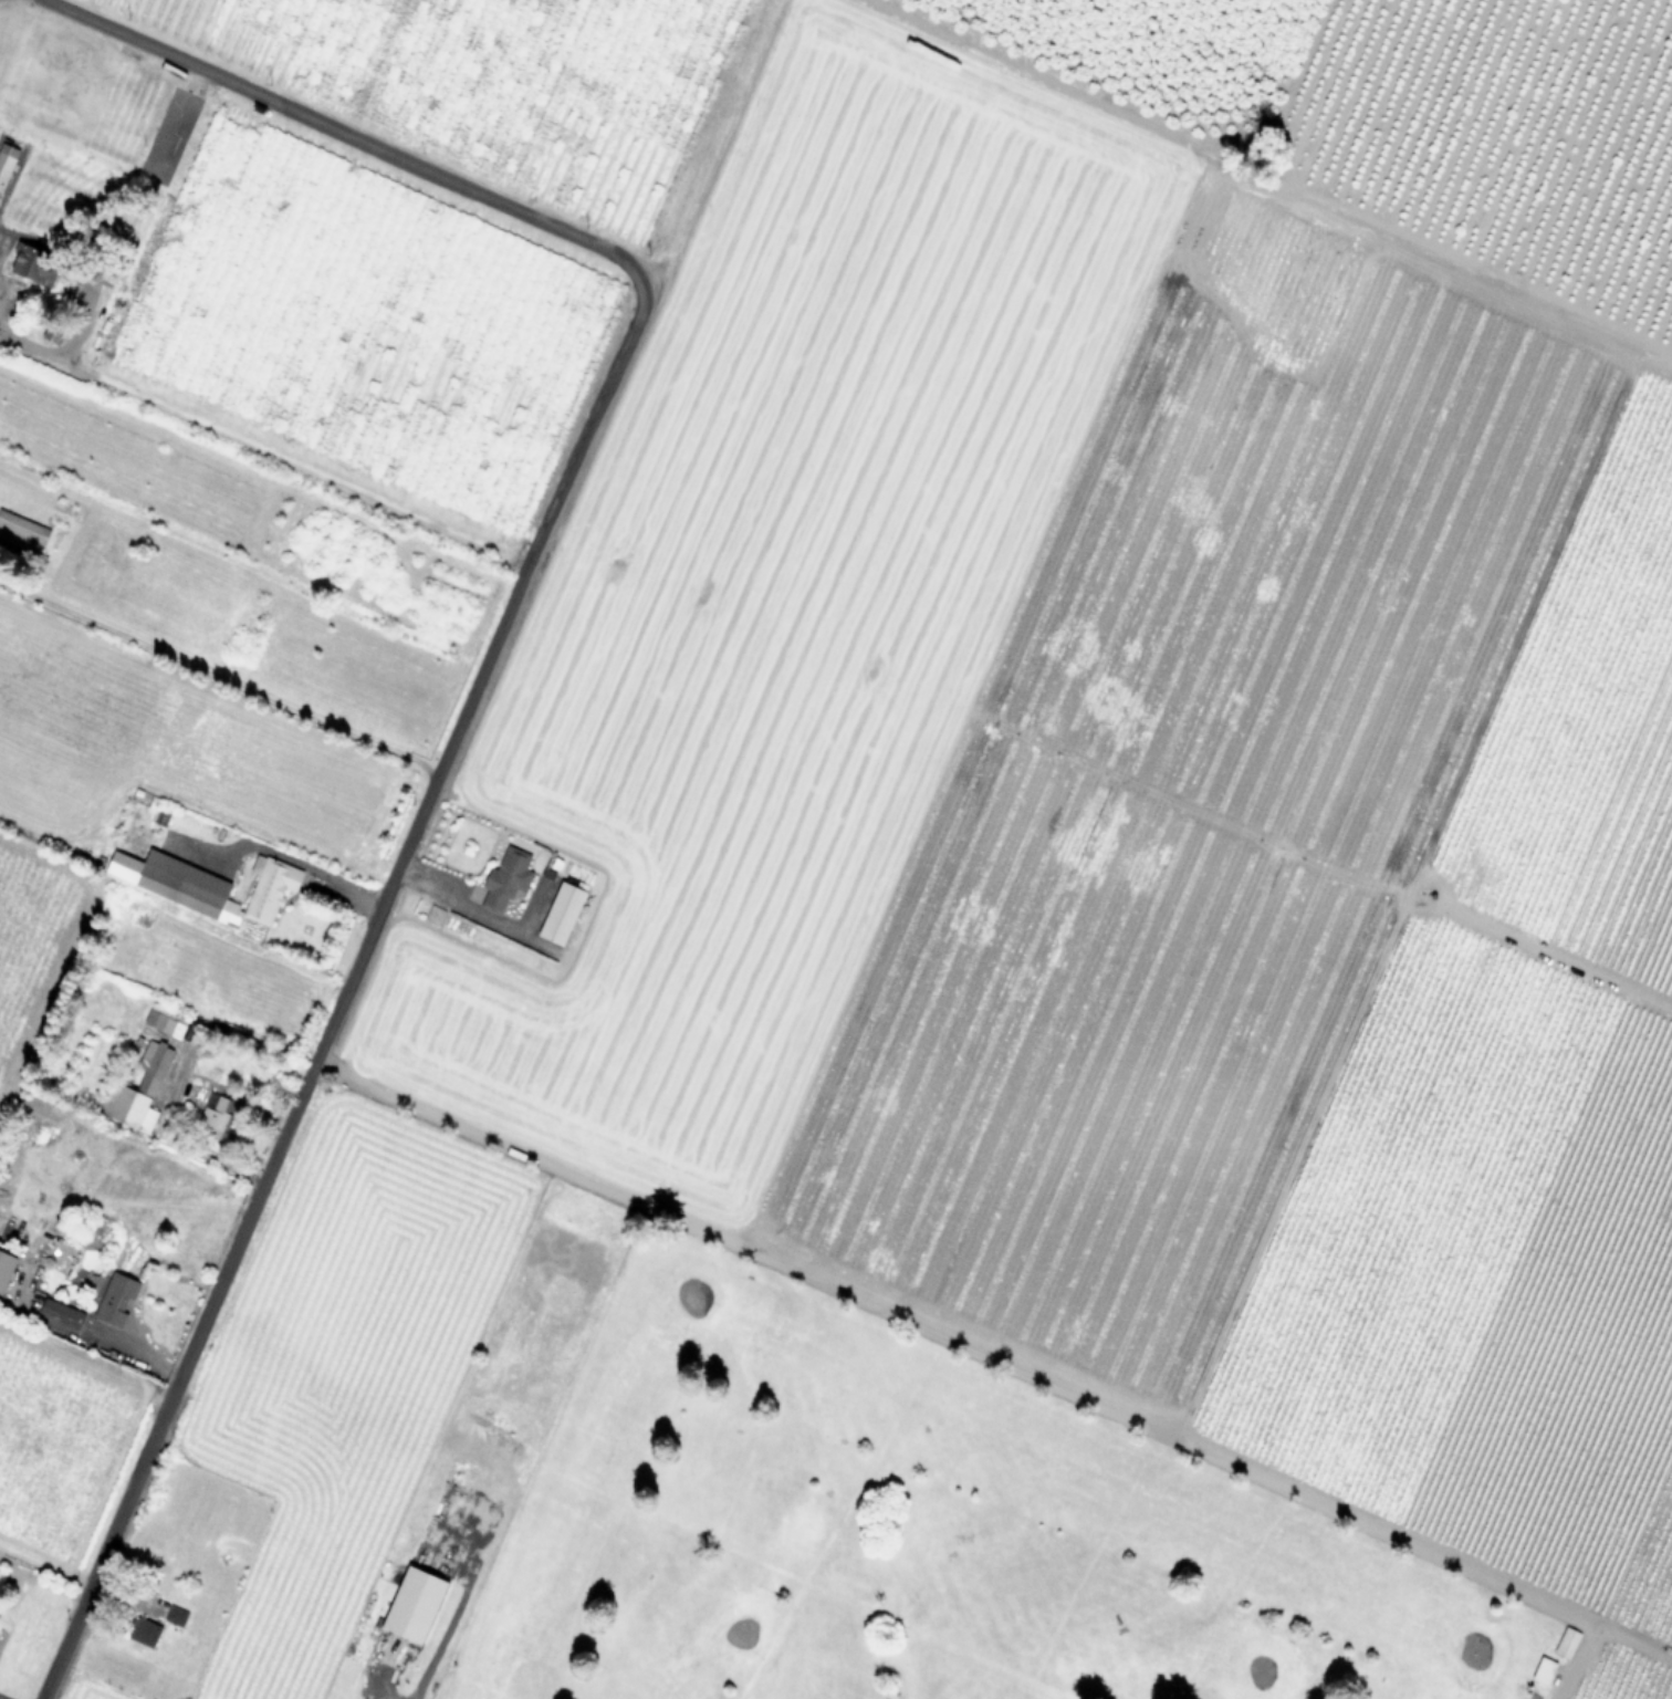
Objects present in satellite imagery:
road: (715, 135)
road: (352, 136)
building: (6, 160)
building: (29, 264)
building: (50, 332)
road: (263, 451)
building: (23, 528)
road: (219, 679)
crop: (827, 762)
road: (275, 856)
building: (502, 879)
building: (177, 883)
building: (270, 890)
road: (461, 905)
building: (558, 910)
road: (348, 984)
building: (166, 1022)
building: (137, 1090)
building: (221, 1115)
road: (188, 1145)
building: (7, 1270)
building: (118, 1301)
building: (63, 1315)
road: (145, 1356)
park: (929, 1535)
building: (411, 1606)
building: (177, 1617)
building: (145, 1628)
building: (1565, 1641)
building: (1542, 1670)

